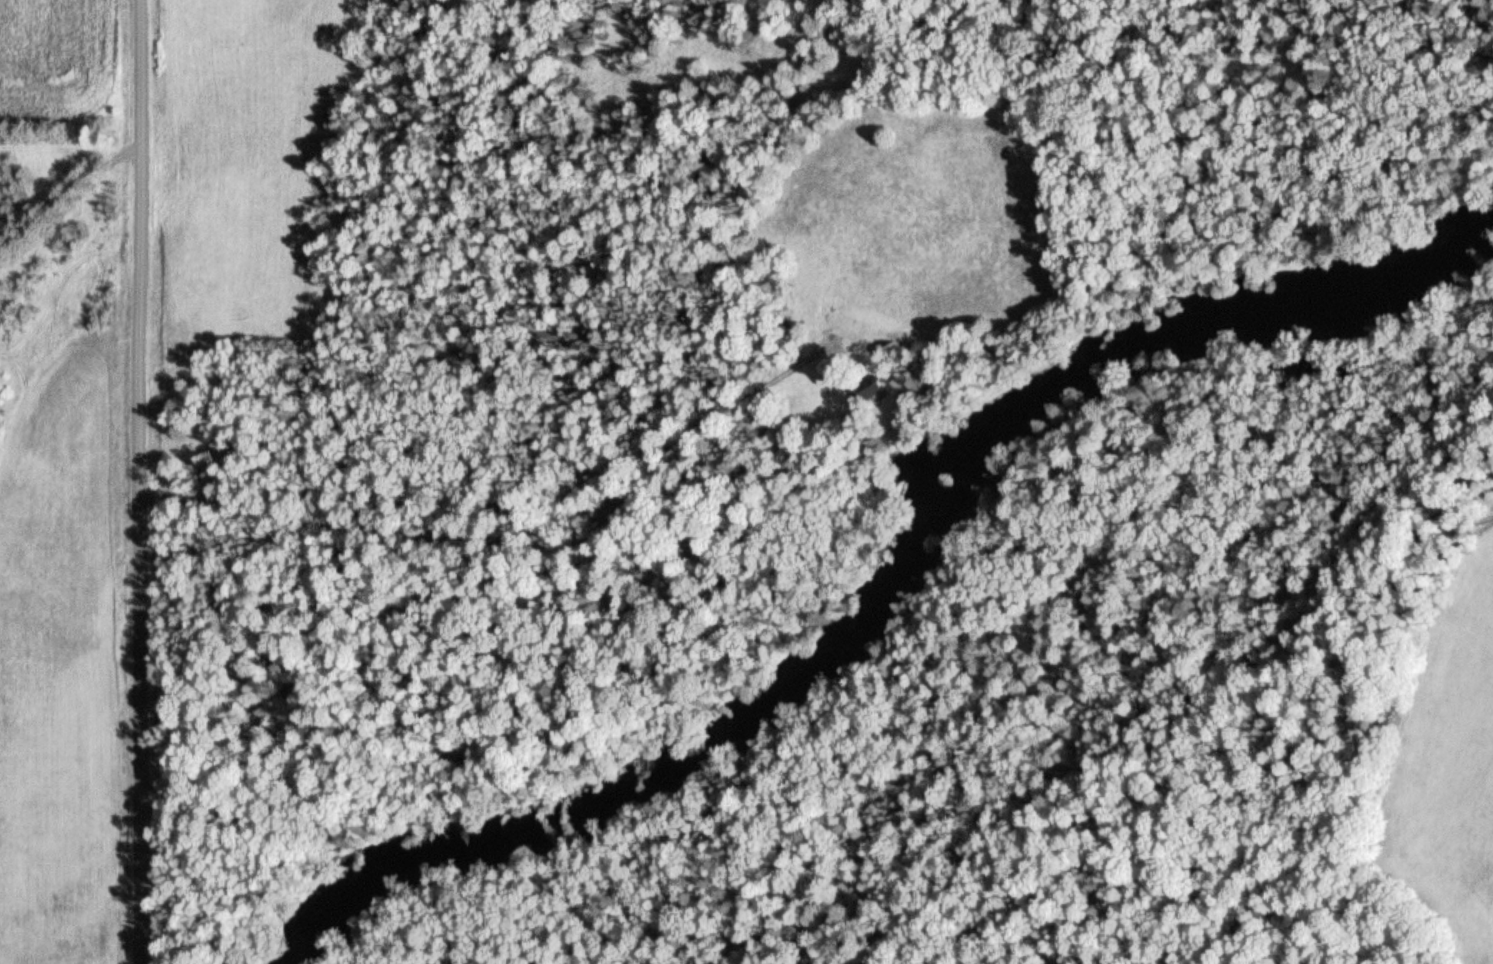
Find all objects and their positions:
building: (876, 392)
road: (137, 482)
river: (885, 573)

